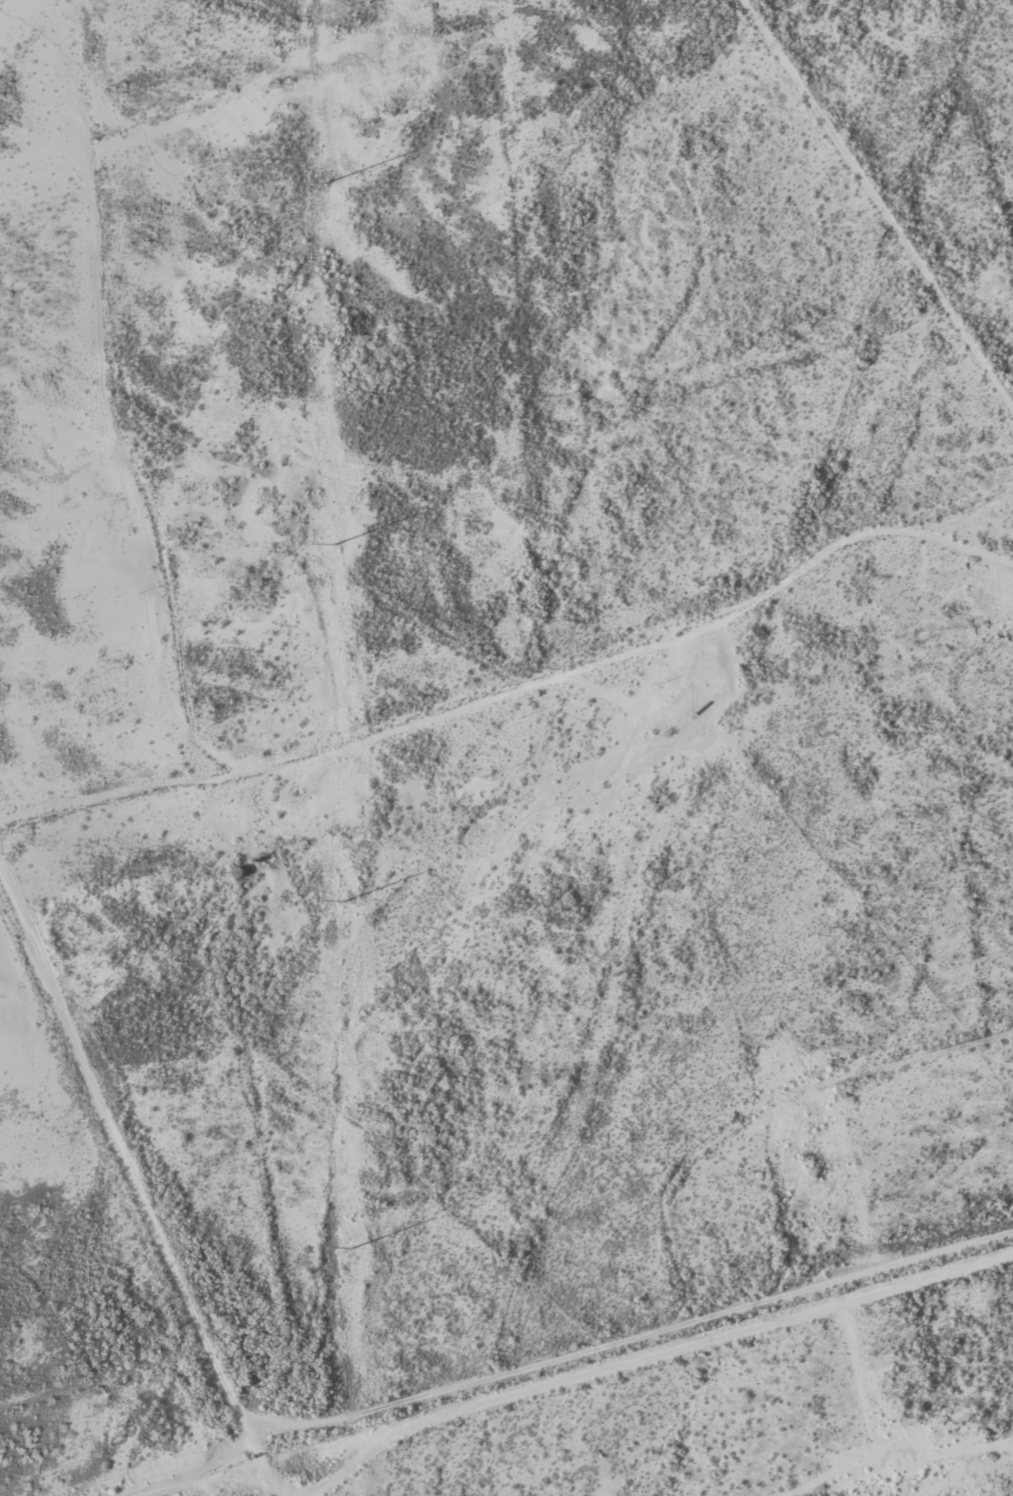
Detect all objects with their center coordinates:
road: (203, 102)
power tower: (325, 185)
power tower: (336, 545)
road: (517, 685)
power tower: (344, 901)
road: (754, 1111)
road: (143, 1181)
power tower: (352, 1249)
road: (633, 1337)
road: (652, 1352)
road: (903, 1466)

